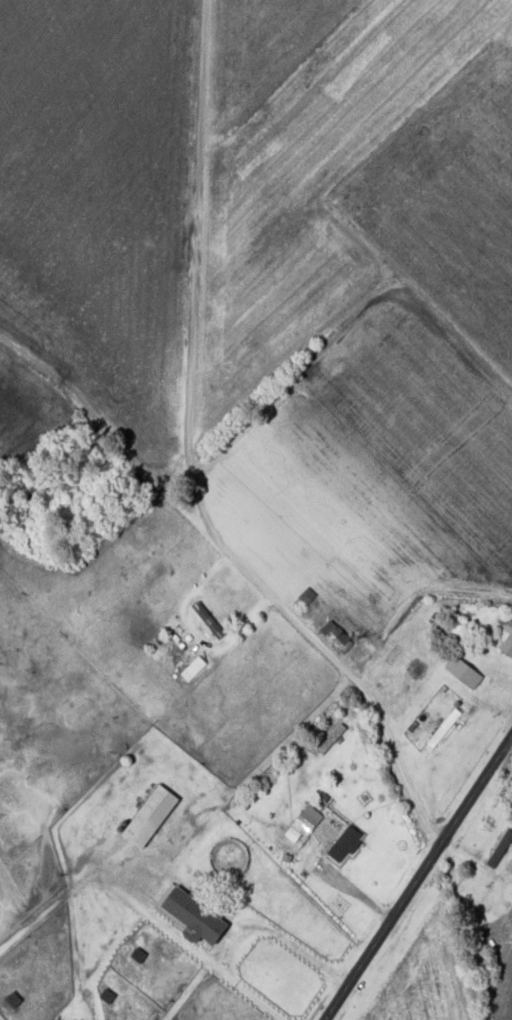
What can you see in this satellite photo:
building: (307, 597)
building: (208, 621)
building: (509, 628)
building: (335, 637)
road: (276, 644)
building: (508, 649)
building: (465, 673)
building: (444, 730)
road: (511, 747)
building: (151, 818)
building: (345, 846)
building: (499, 852)
road: (471, 861)
road: (415, 880)
building: (195, 918)
building: (508, 922)

